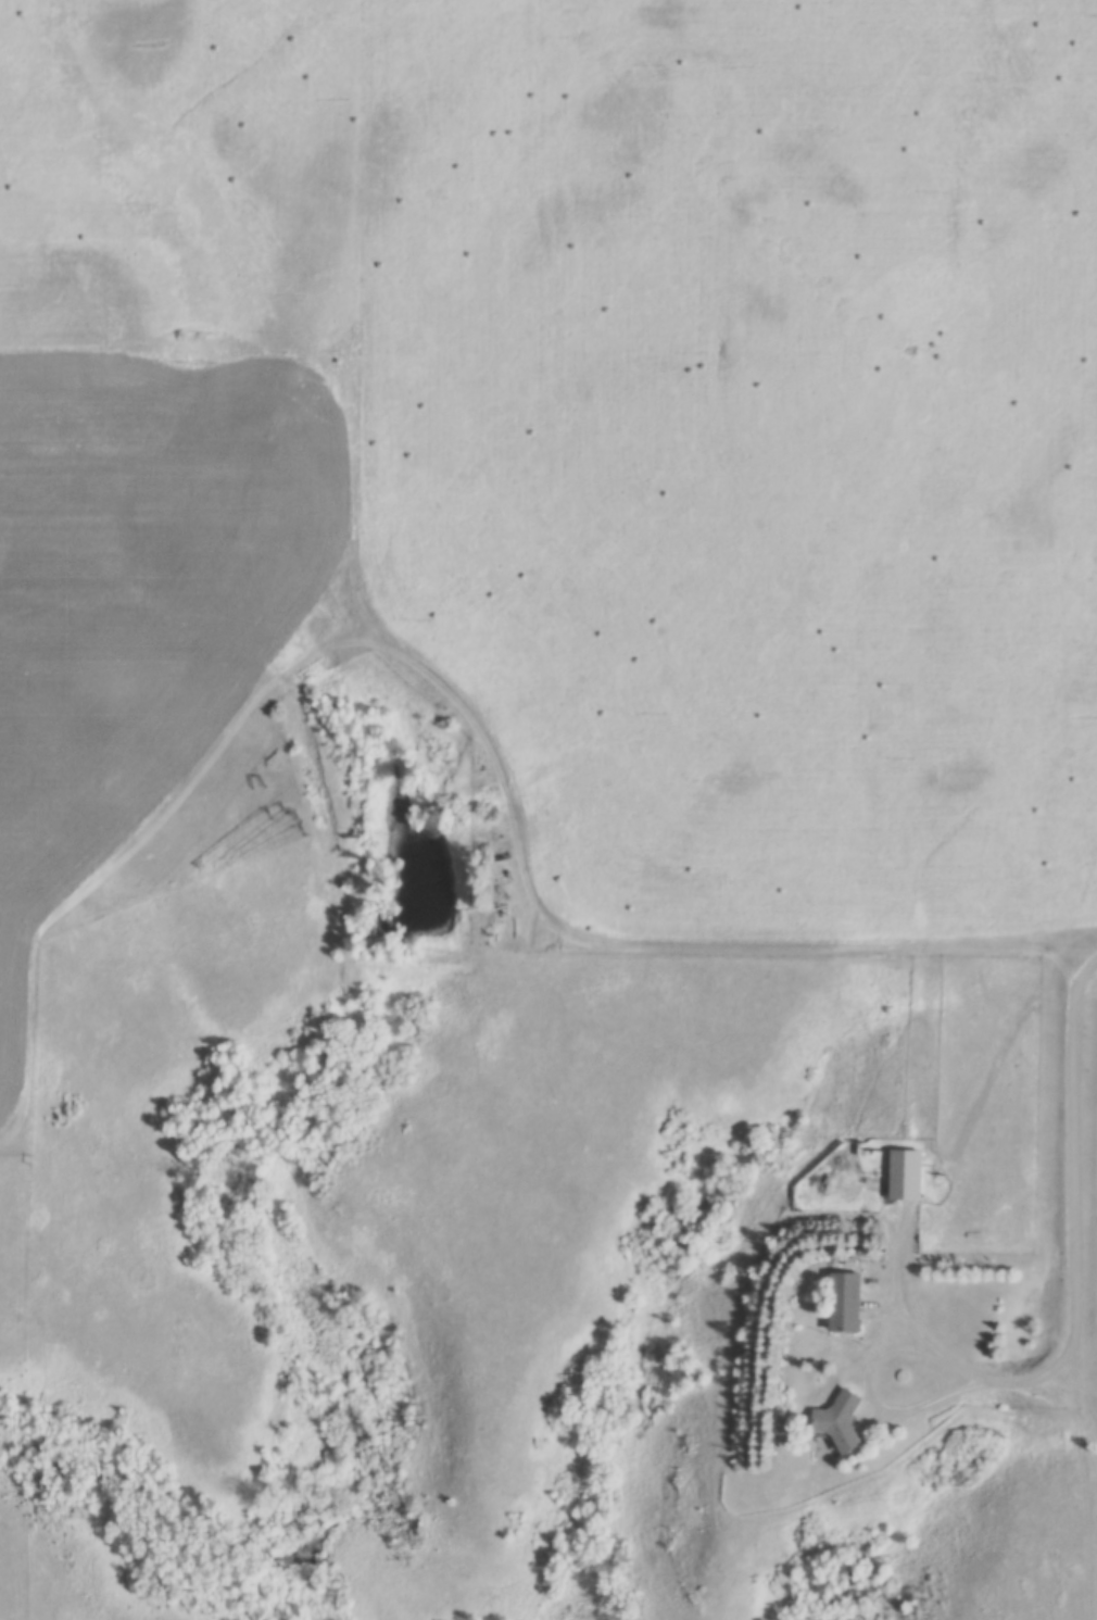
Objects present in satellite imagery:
building: (907, 1177)
road: (1079, 1193)
road: (900, 1279)
building: (847, 1303)
road: (872, 1380)
building: (841, 1422)

